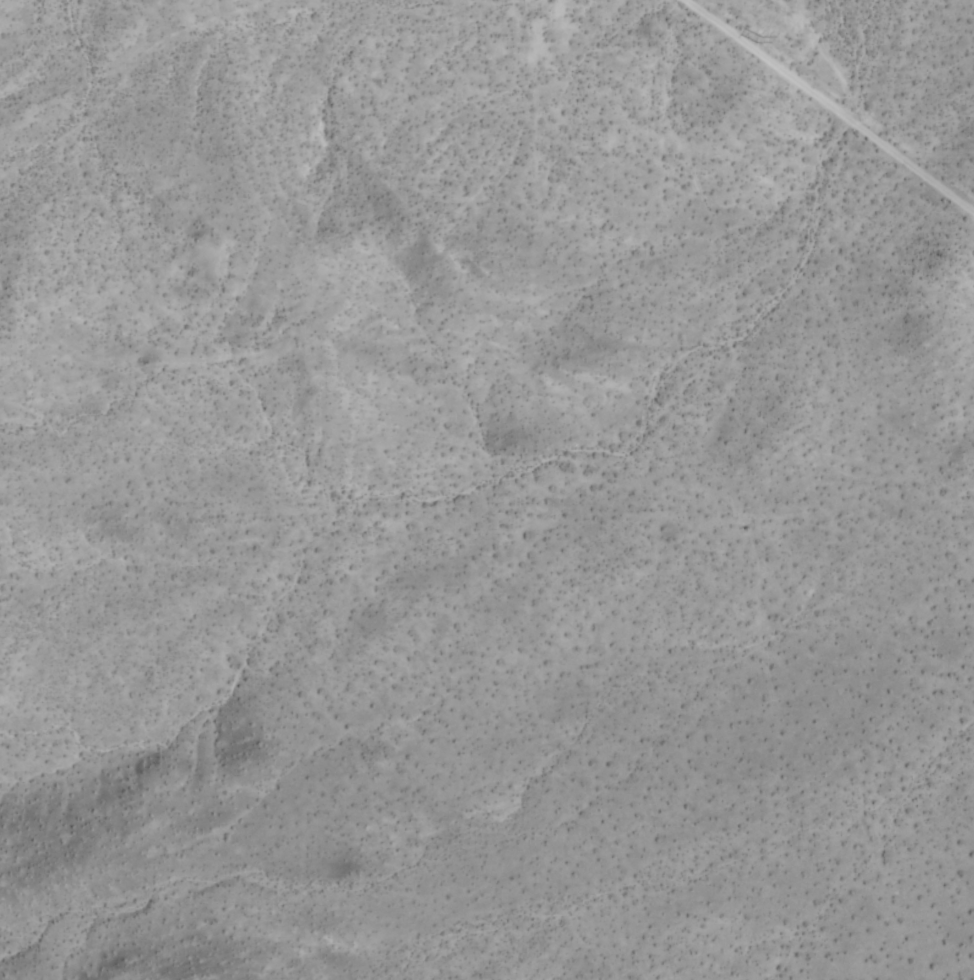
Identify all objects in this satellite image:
power tower: (761, 42)
road: (828, 106)

